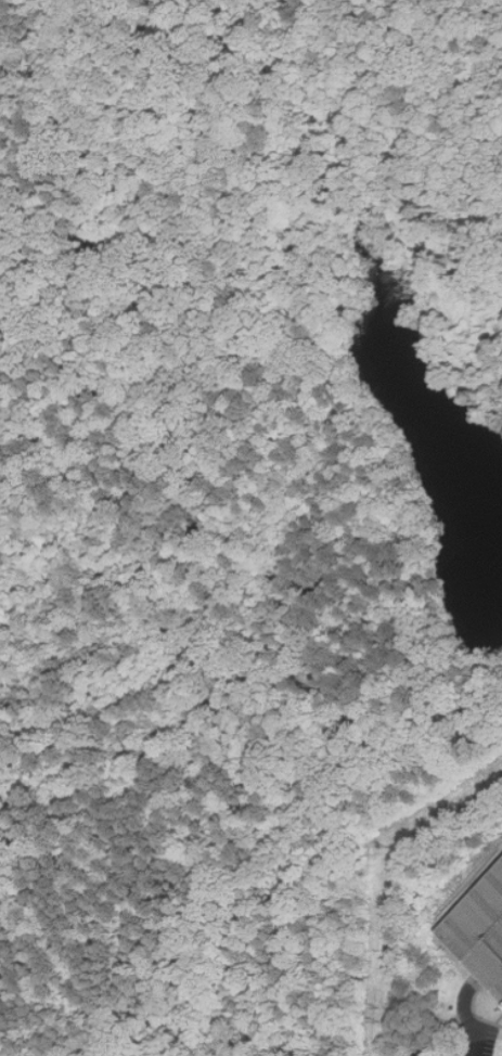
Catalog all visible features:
river: (419, 395)
building: (482, 931)
parking garage: (482, 931)
road: (466, 1013)
parking lot: (478, 1040)

